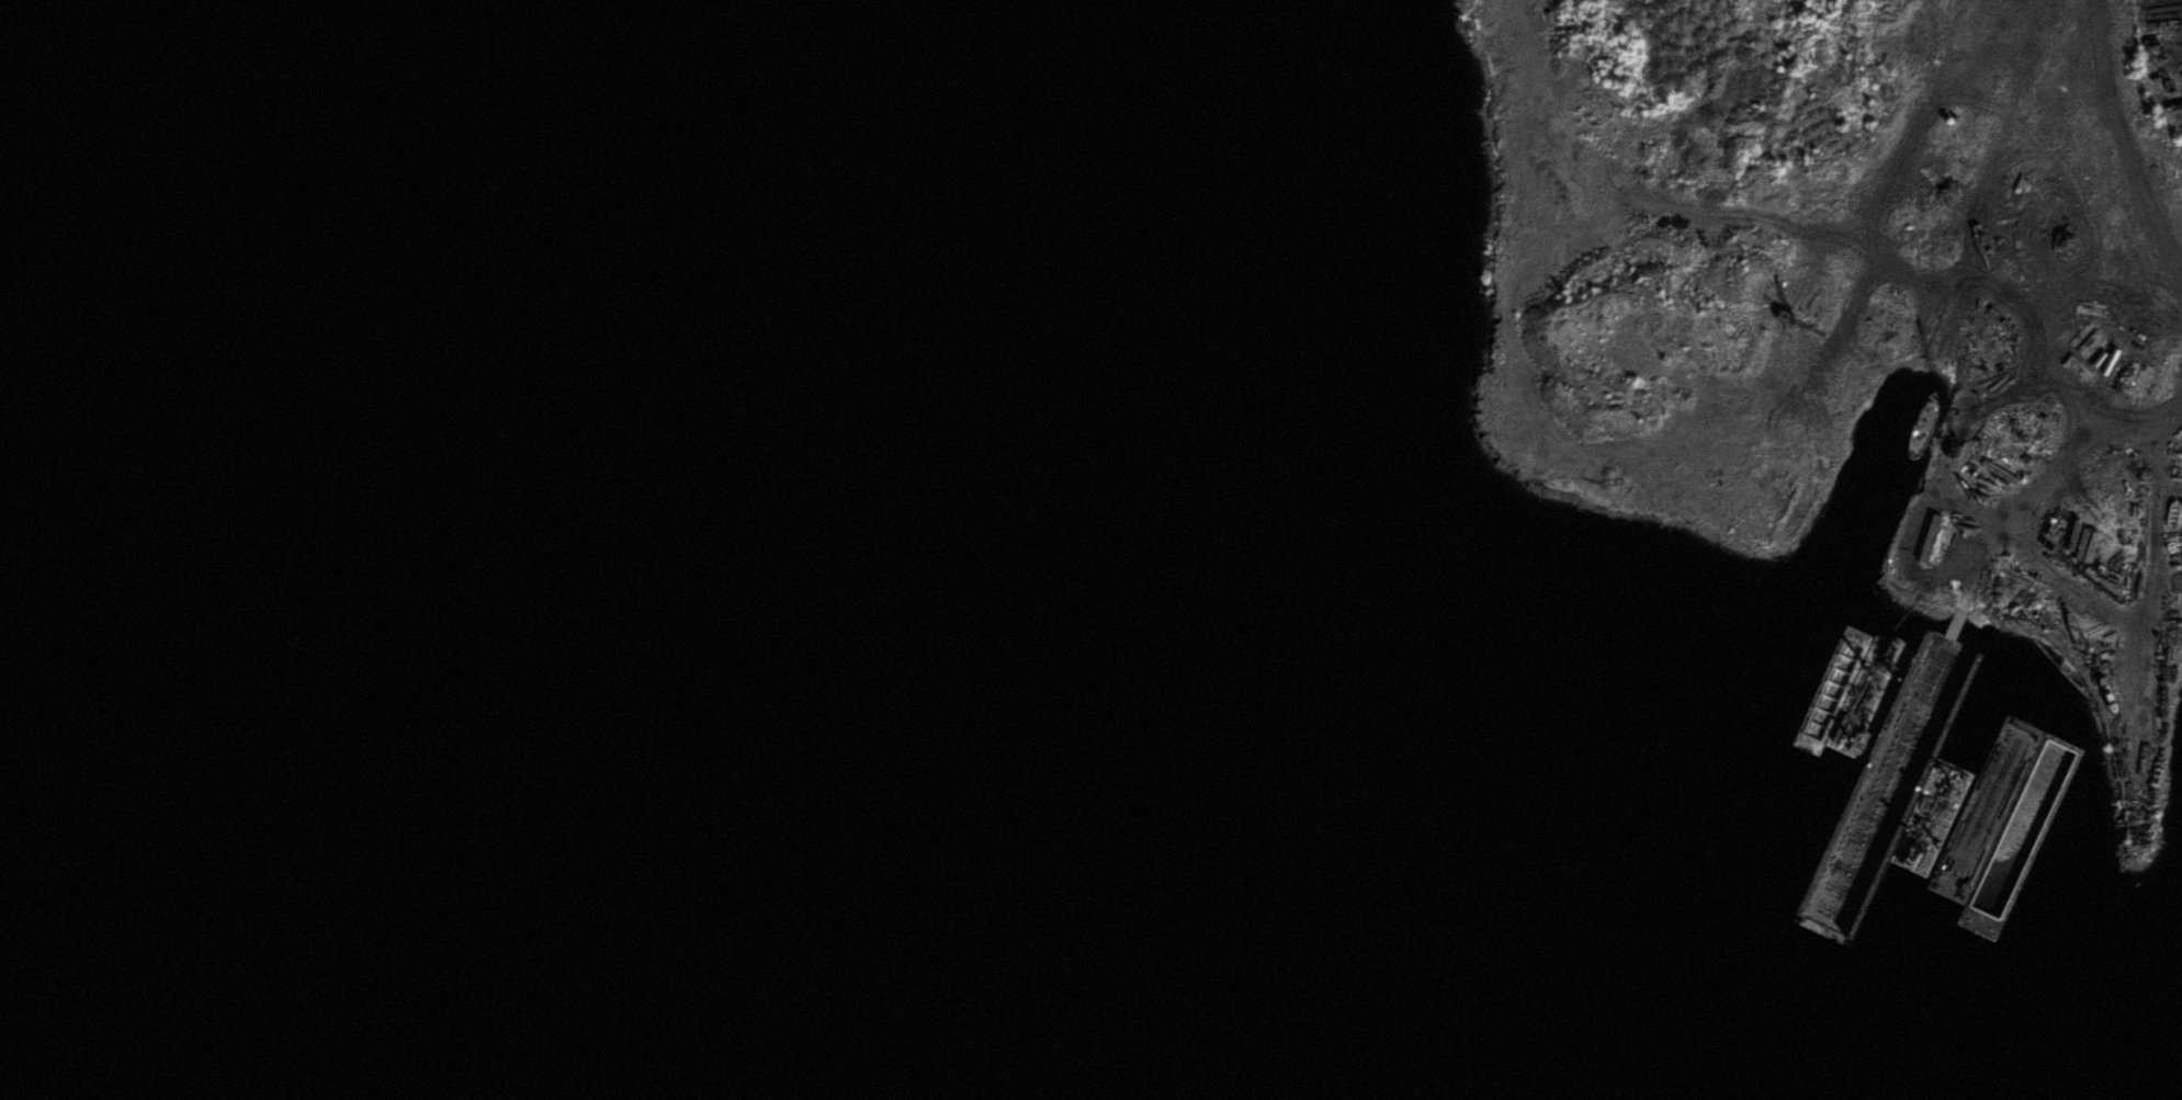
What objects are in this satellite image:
building: (1940, 761)

